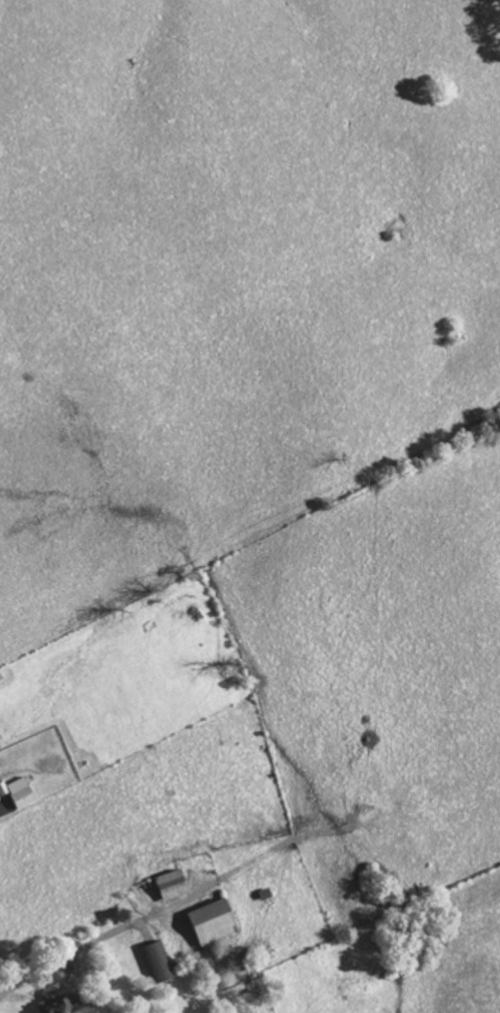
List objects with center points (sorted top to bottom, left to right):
building: (4, 787)
building: (23, 791)
building: (175, 883)
building: (217, 920)
road: (95, 937)
building: (159, 961)
building: (65, 1003)

